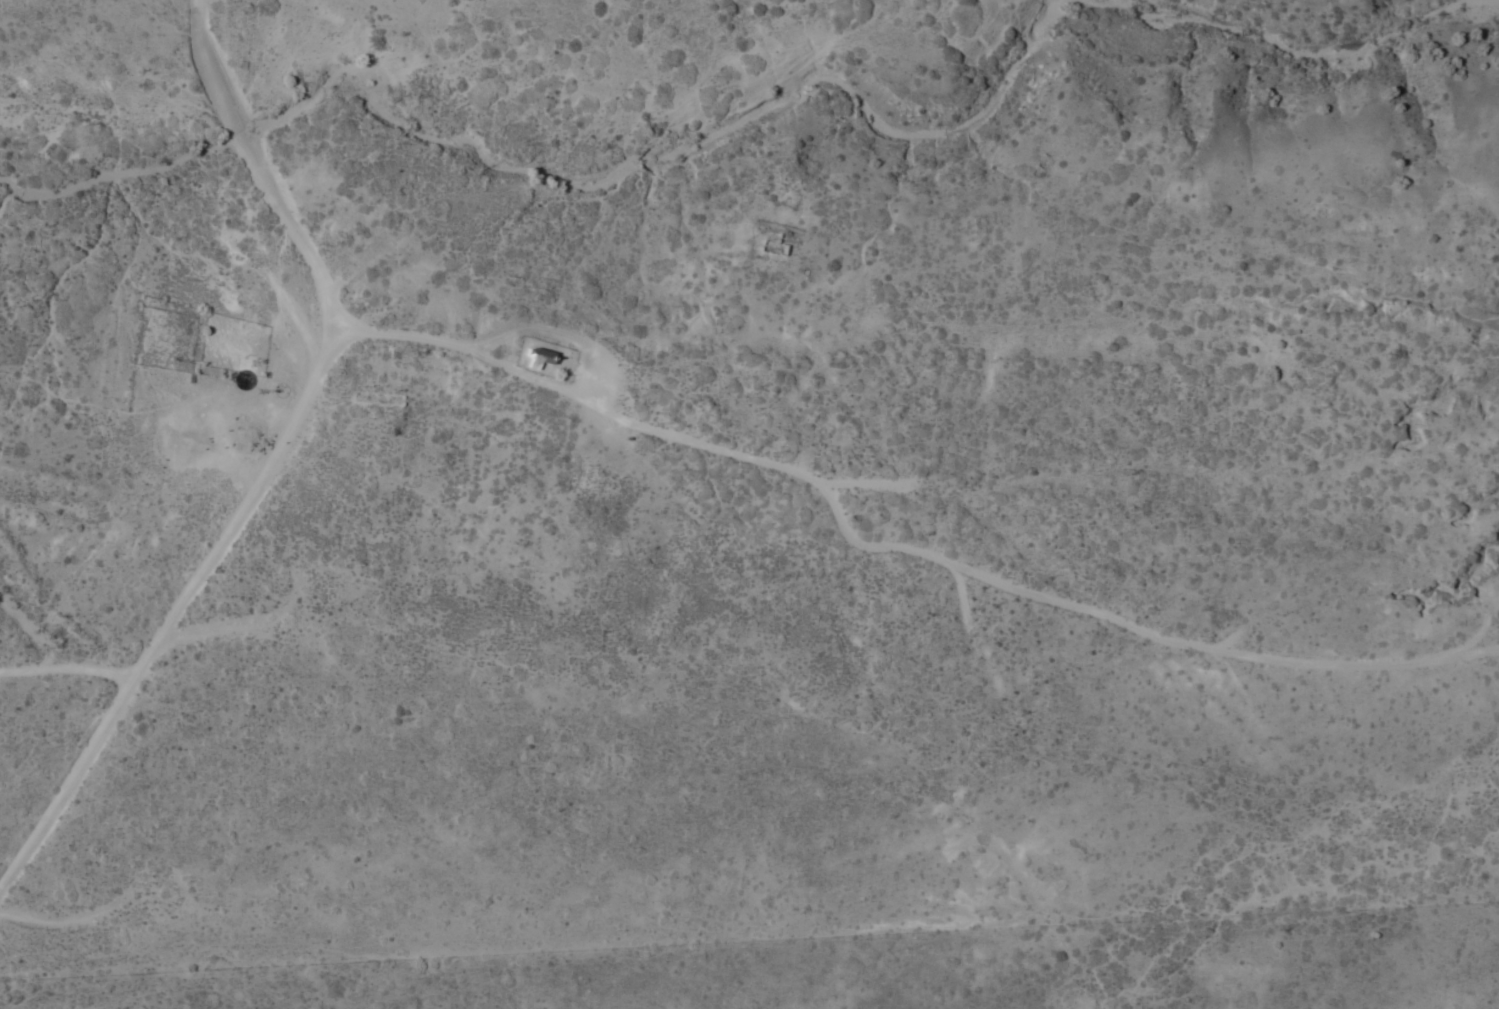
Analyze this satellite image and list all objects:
building: (541, 360)
road: (743, 449)
road: (178, 634)

